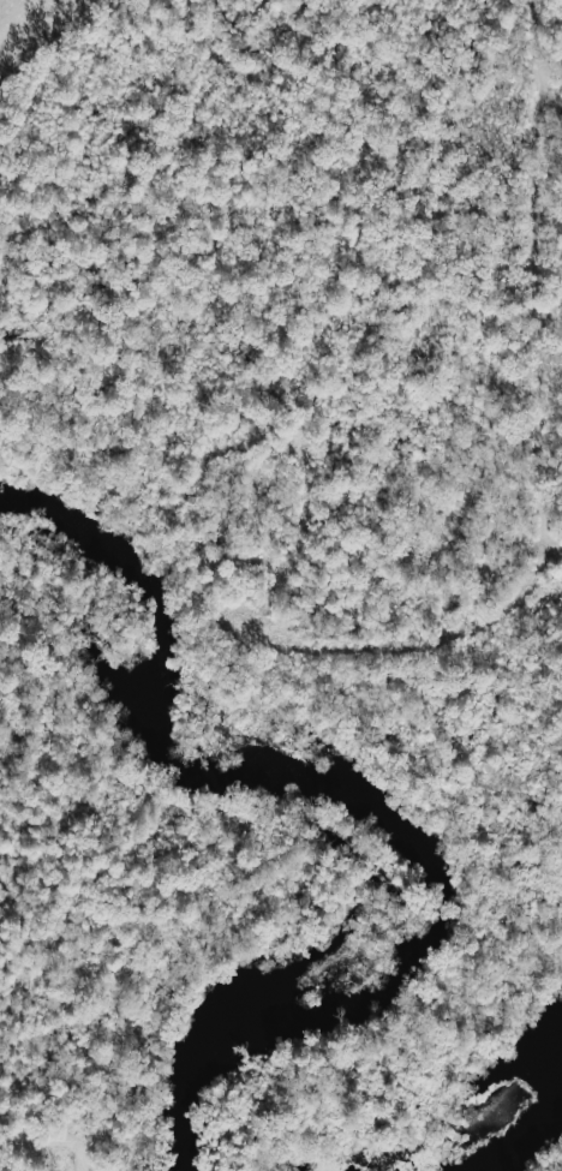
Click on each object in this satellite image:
road: (542, 417)
river: (352, 788)
river: (500, 1113)

